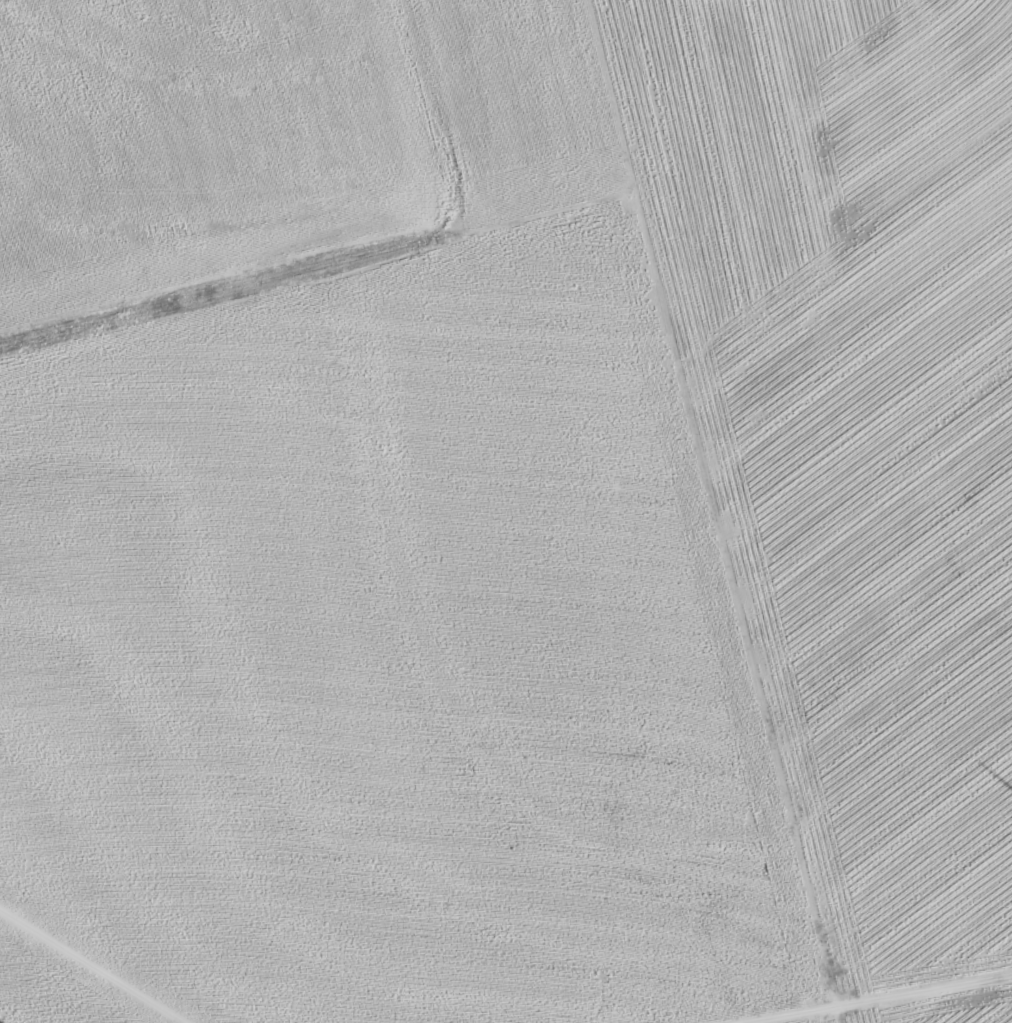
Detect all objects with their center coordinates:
road: (91, 967)
road: (872, 998)

